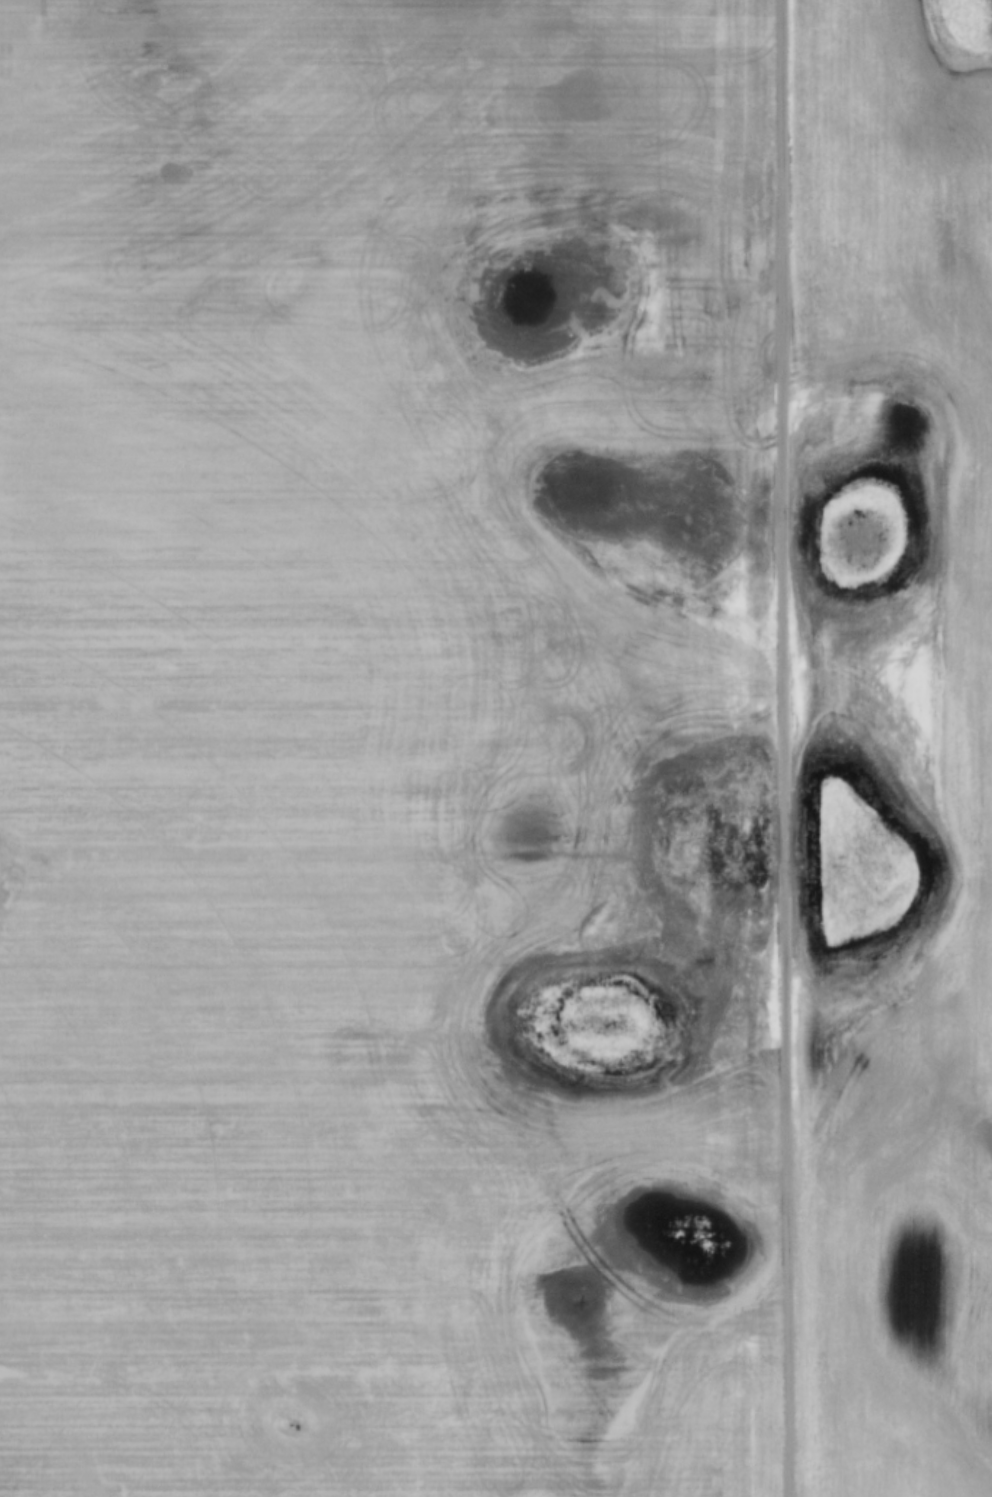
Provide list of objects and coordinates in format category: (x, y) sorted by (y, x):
road: (787, 748)

